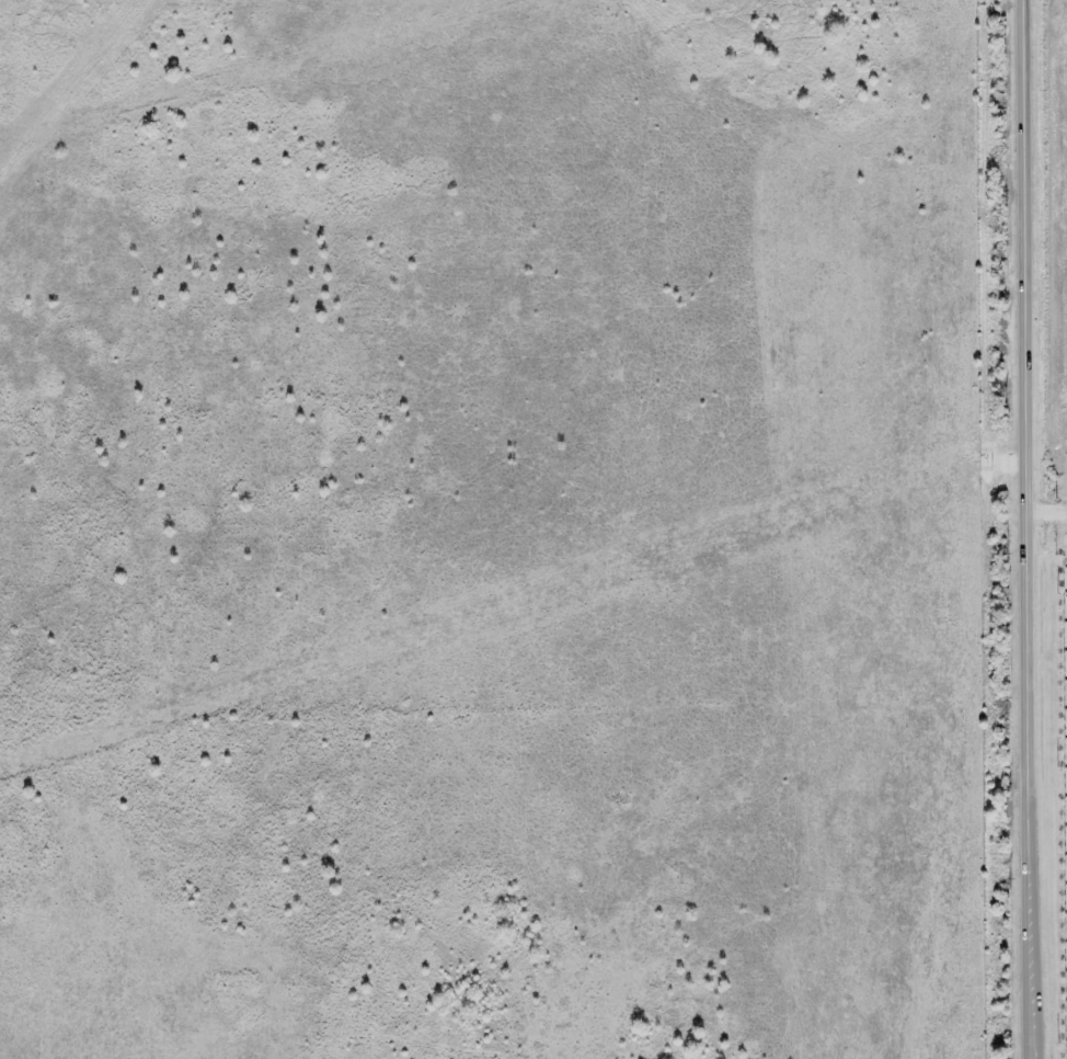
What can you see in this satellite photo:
road: (1025, 529)

